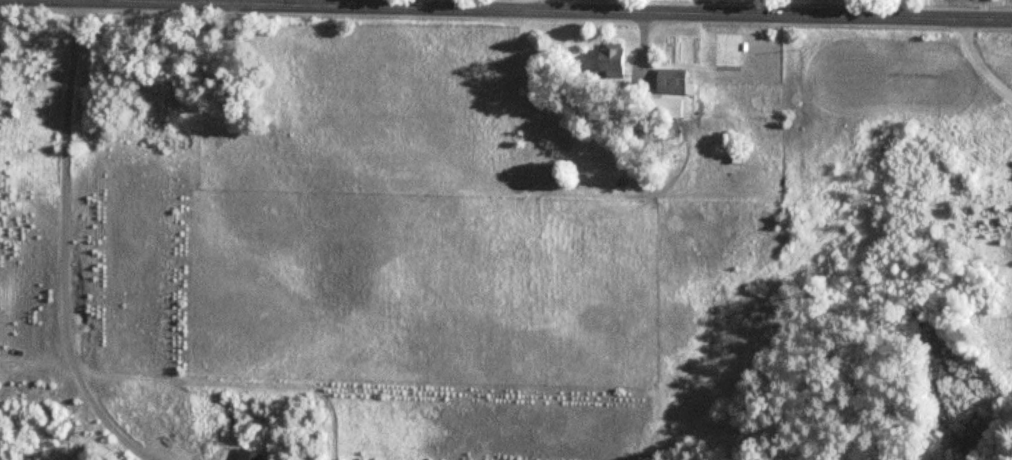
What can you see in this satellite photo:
road: (570, 8)
building: (611, 58)
building: (672, 80)
building: (663, 107)

